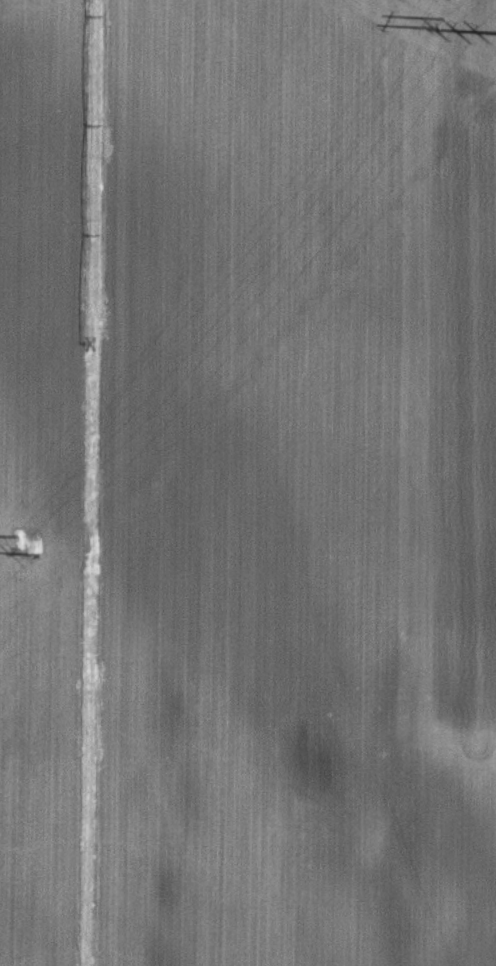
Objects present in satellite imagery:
power tower: (25, 542)

